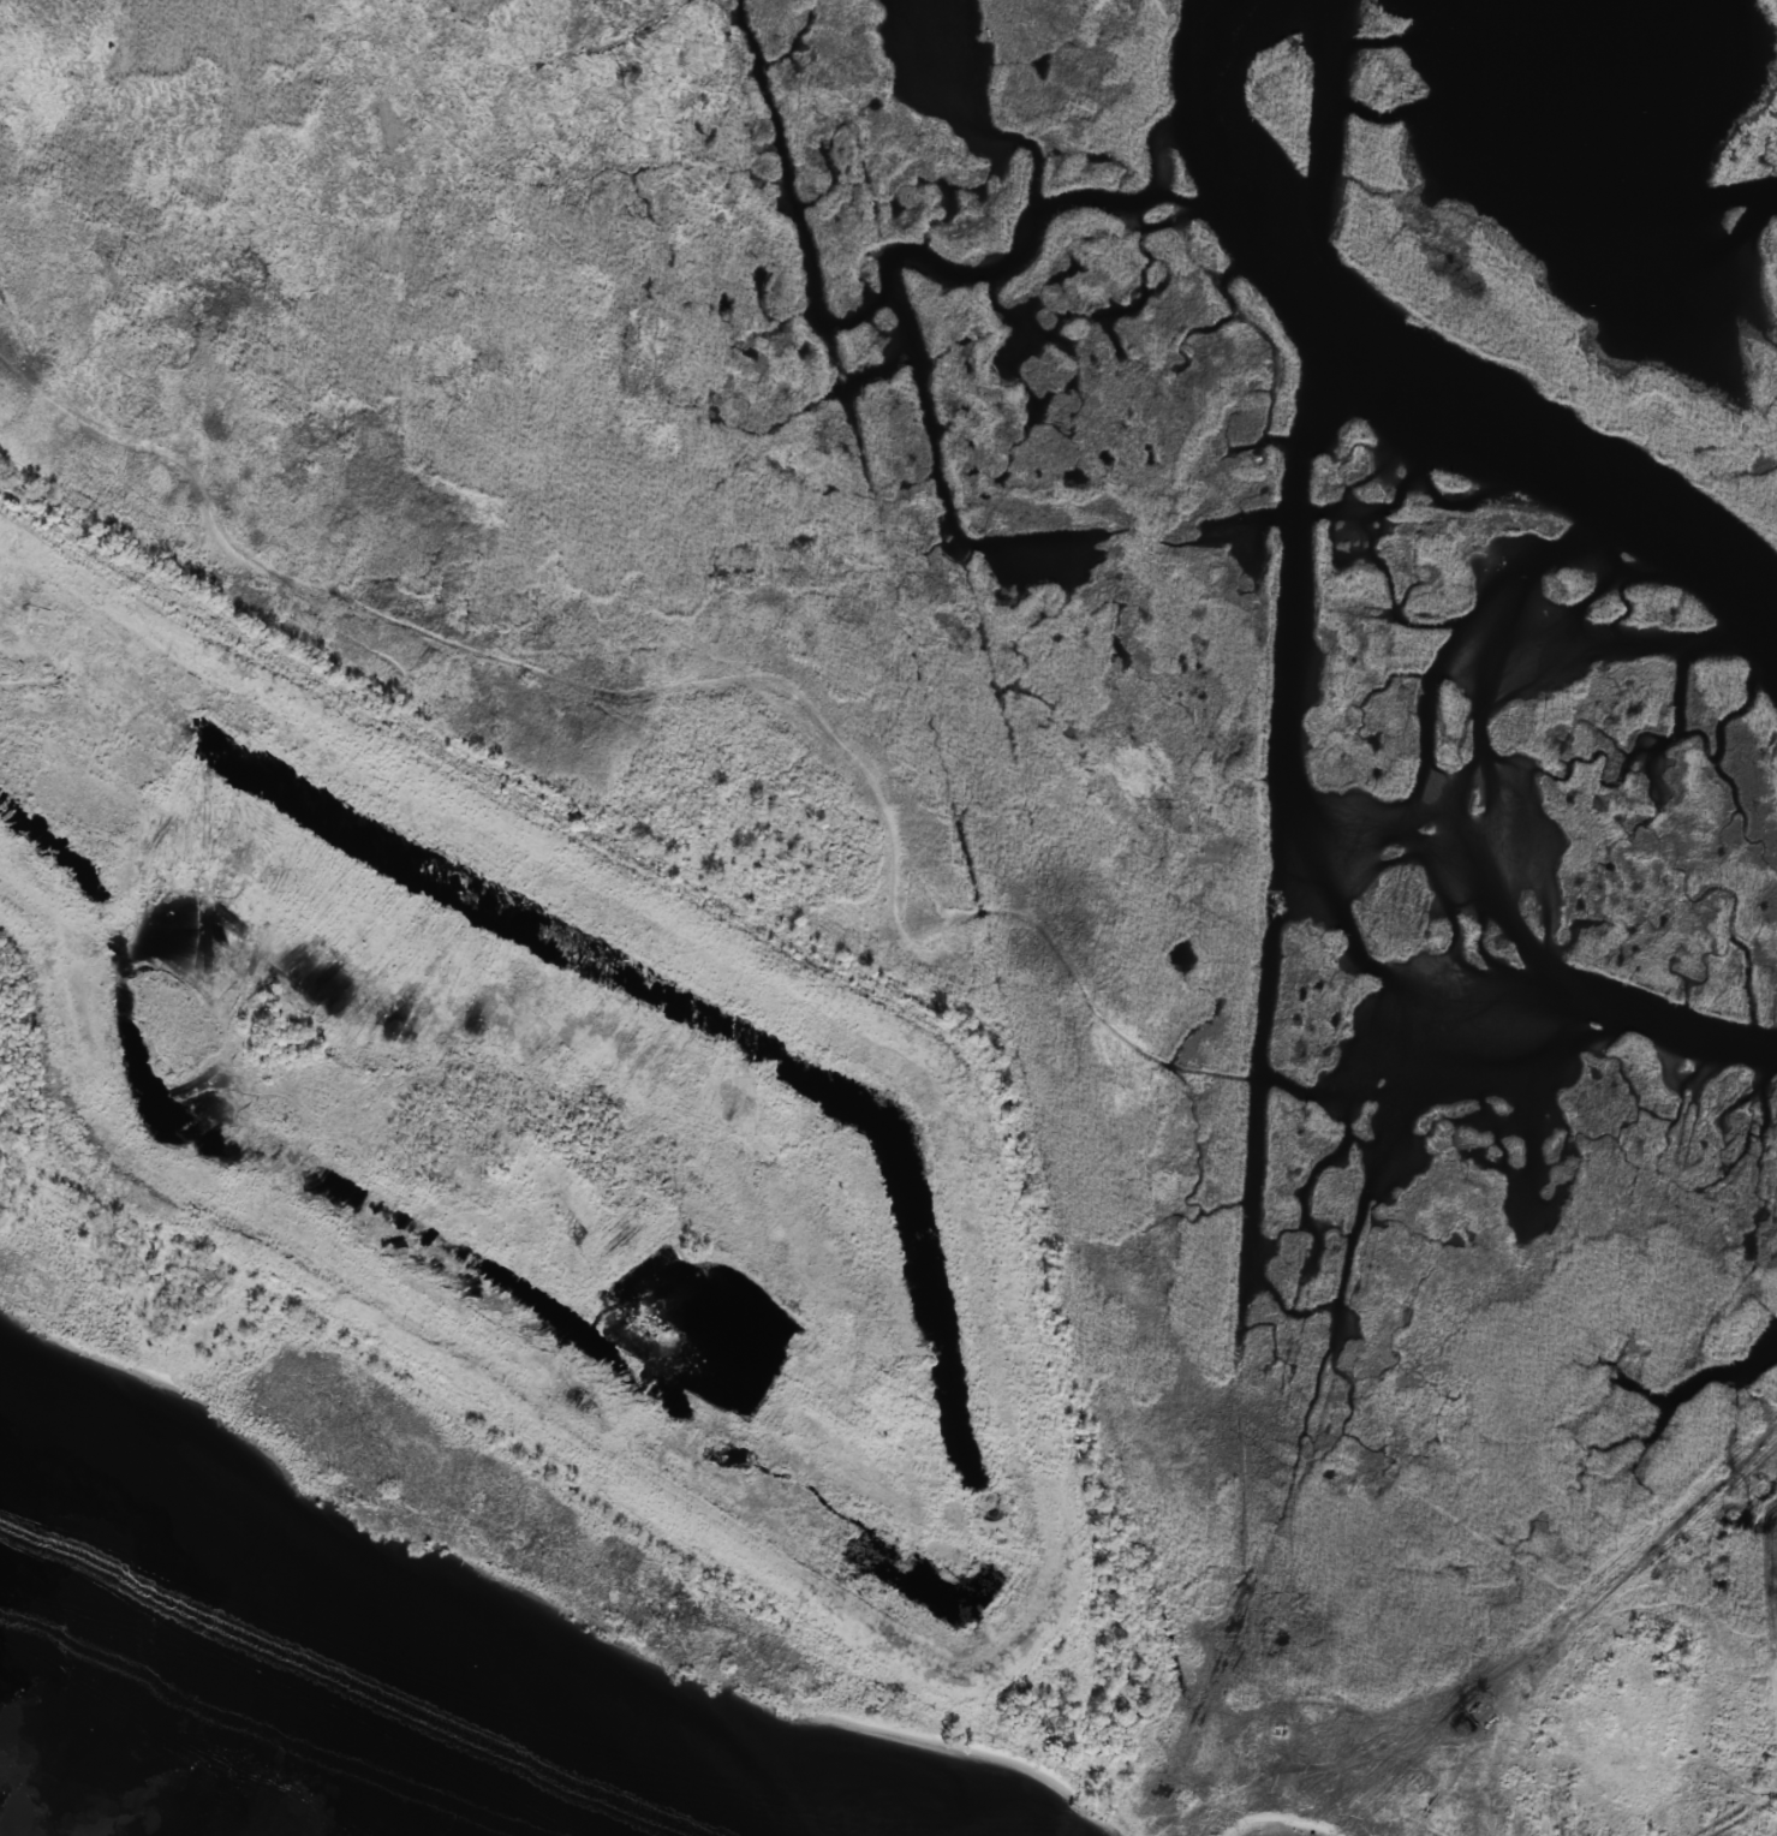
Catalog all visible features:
river: (114, 1780)

